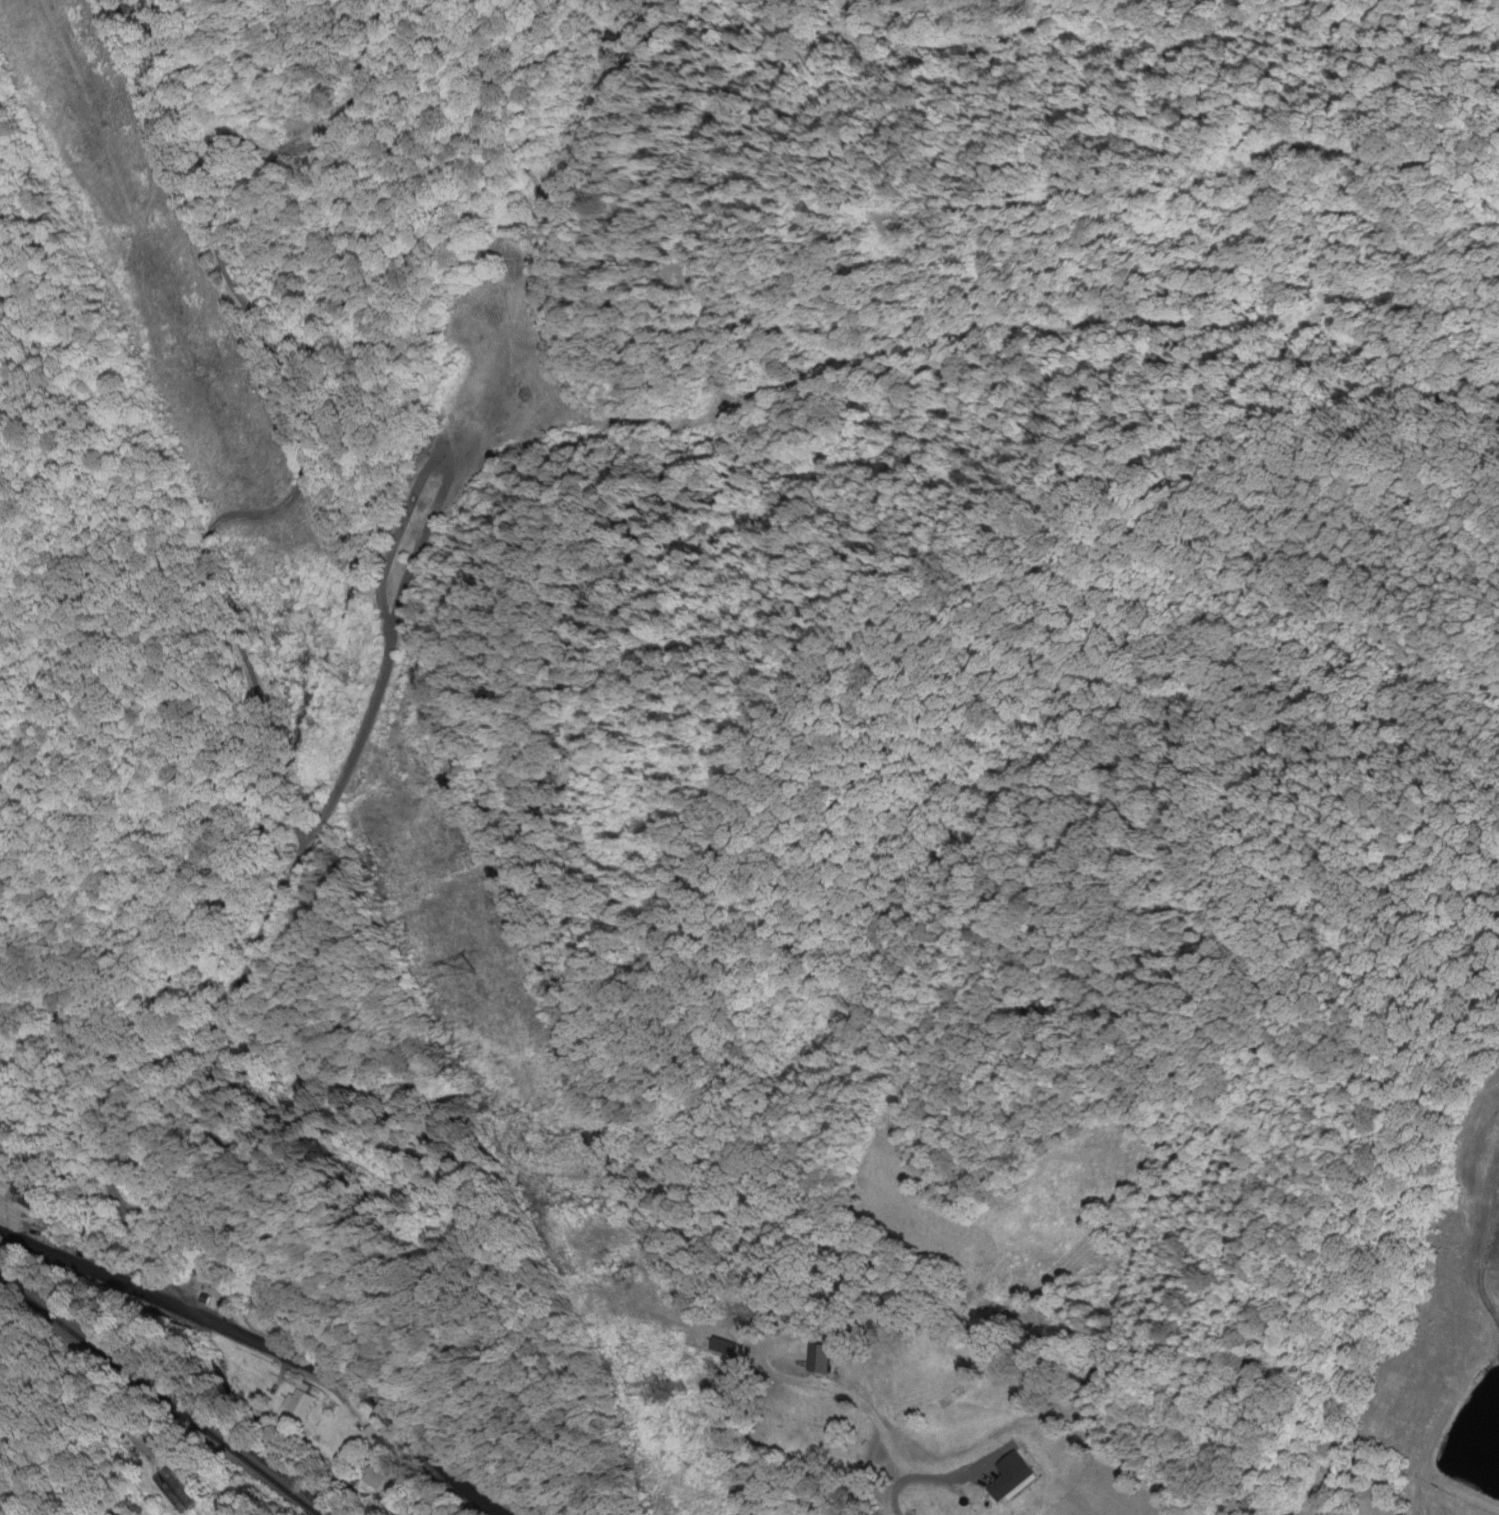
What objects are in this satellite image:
power tower: (474, 976)
road: (92, 1264)
building: (819, 1360)
road: (357, 1392)
power tower: (663, 1396)
railway: (158, 1397)
building: (300, 1404)
building: (1037, 1435)
road: (914, 1474)
building: (377, 1479)

